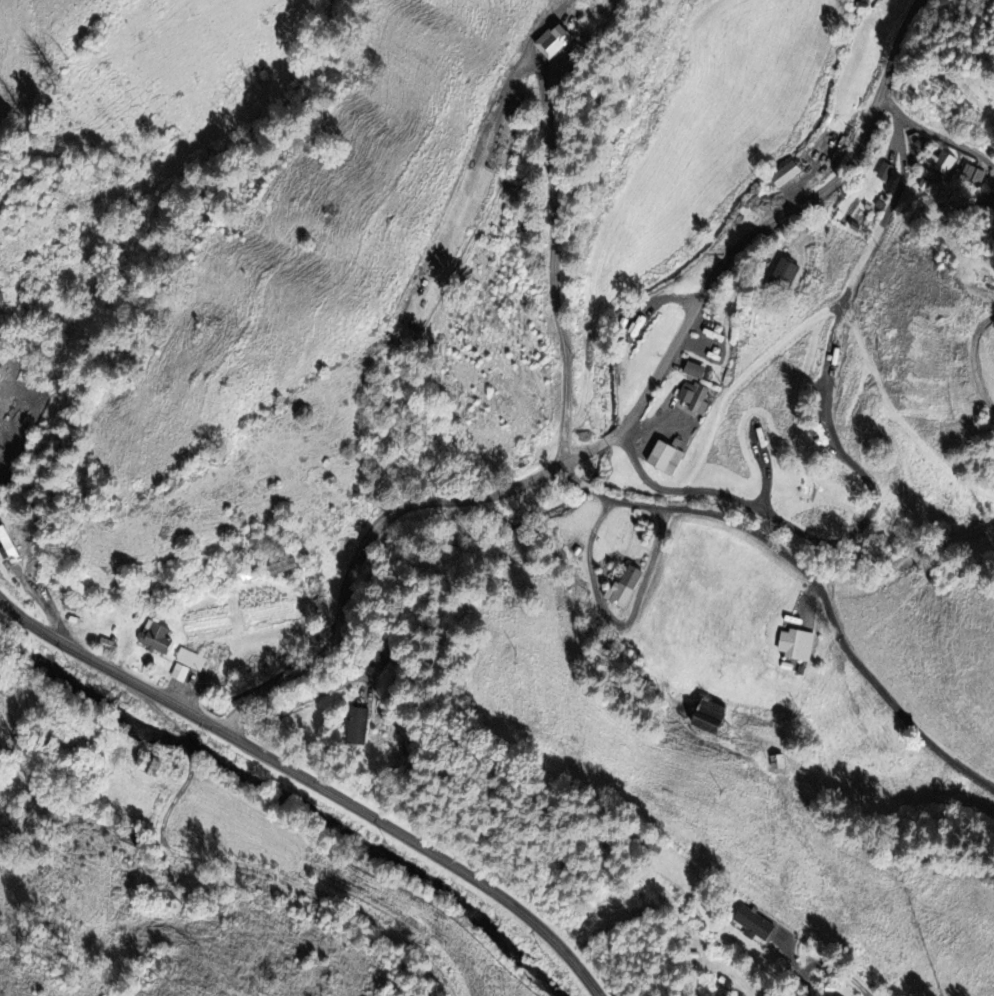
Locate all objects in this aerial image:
building: (549, 40)
road: (932, 132)
building: (940, 162)
building: (883, 171)
building: (782, 173)
building: (971, 173)
building: (992, 205)
road: (554, 258)
building: (781, 275)
building: (0, 299)
road: (973, 360)
building: (691, 369)
building: (692, 396)
road: (618, 430)
building: (663, 458)
road: (570, 475)
road: (586, 484)
building: (280, 566)
building: (621, 587)
road: (823, 593)
road: (613, 621)
building: (154, 637)
building: (793, 644)
building: (185, 664)
building: (704, 716)
building: (355, 726)
building: (775, 761)
road: (311, 782)
road: (225, 865)
building: (750, 923)

